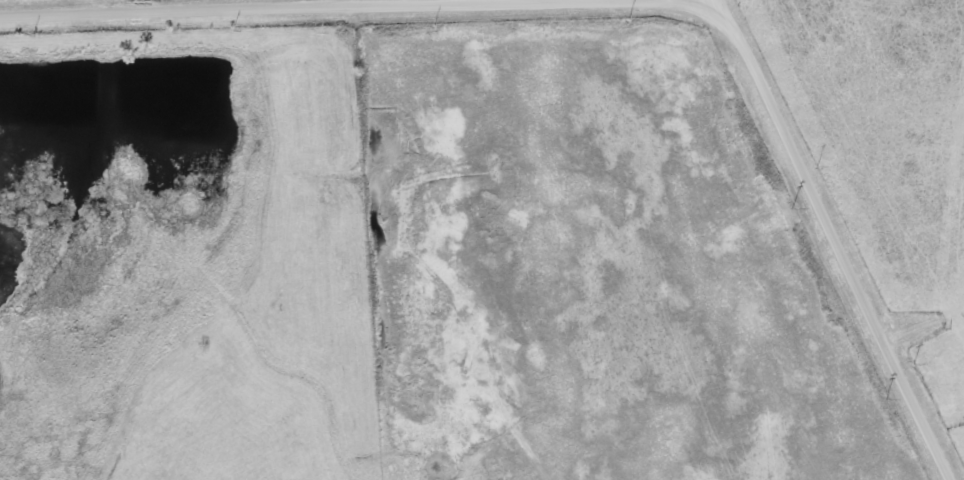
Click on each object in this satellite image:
road: (710, 0)
road: (235, 6)
road: (831, 240)

